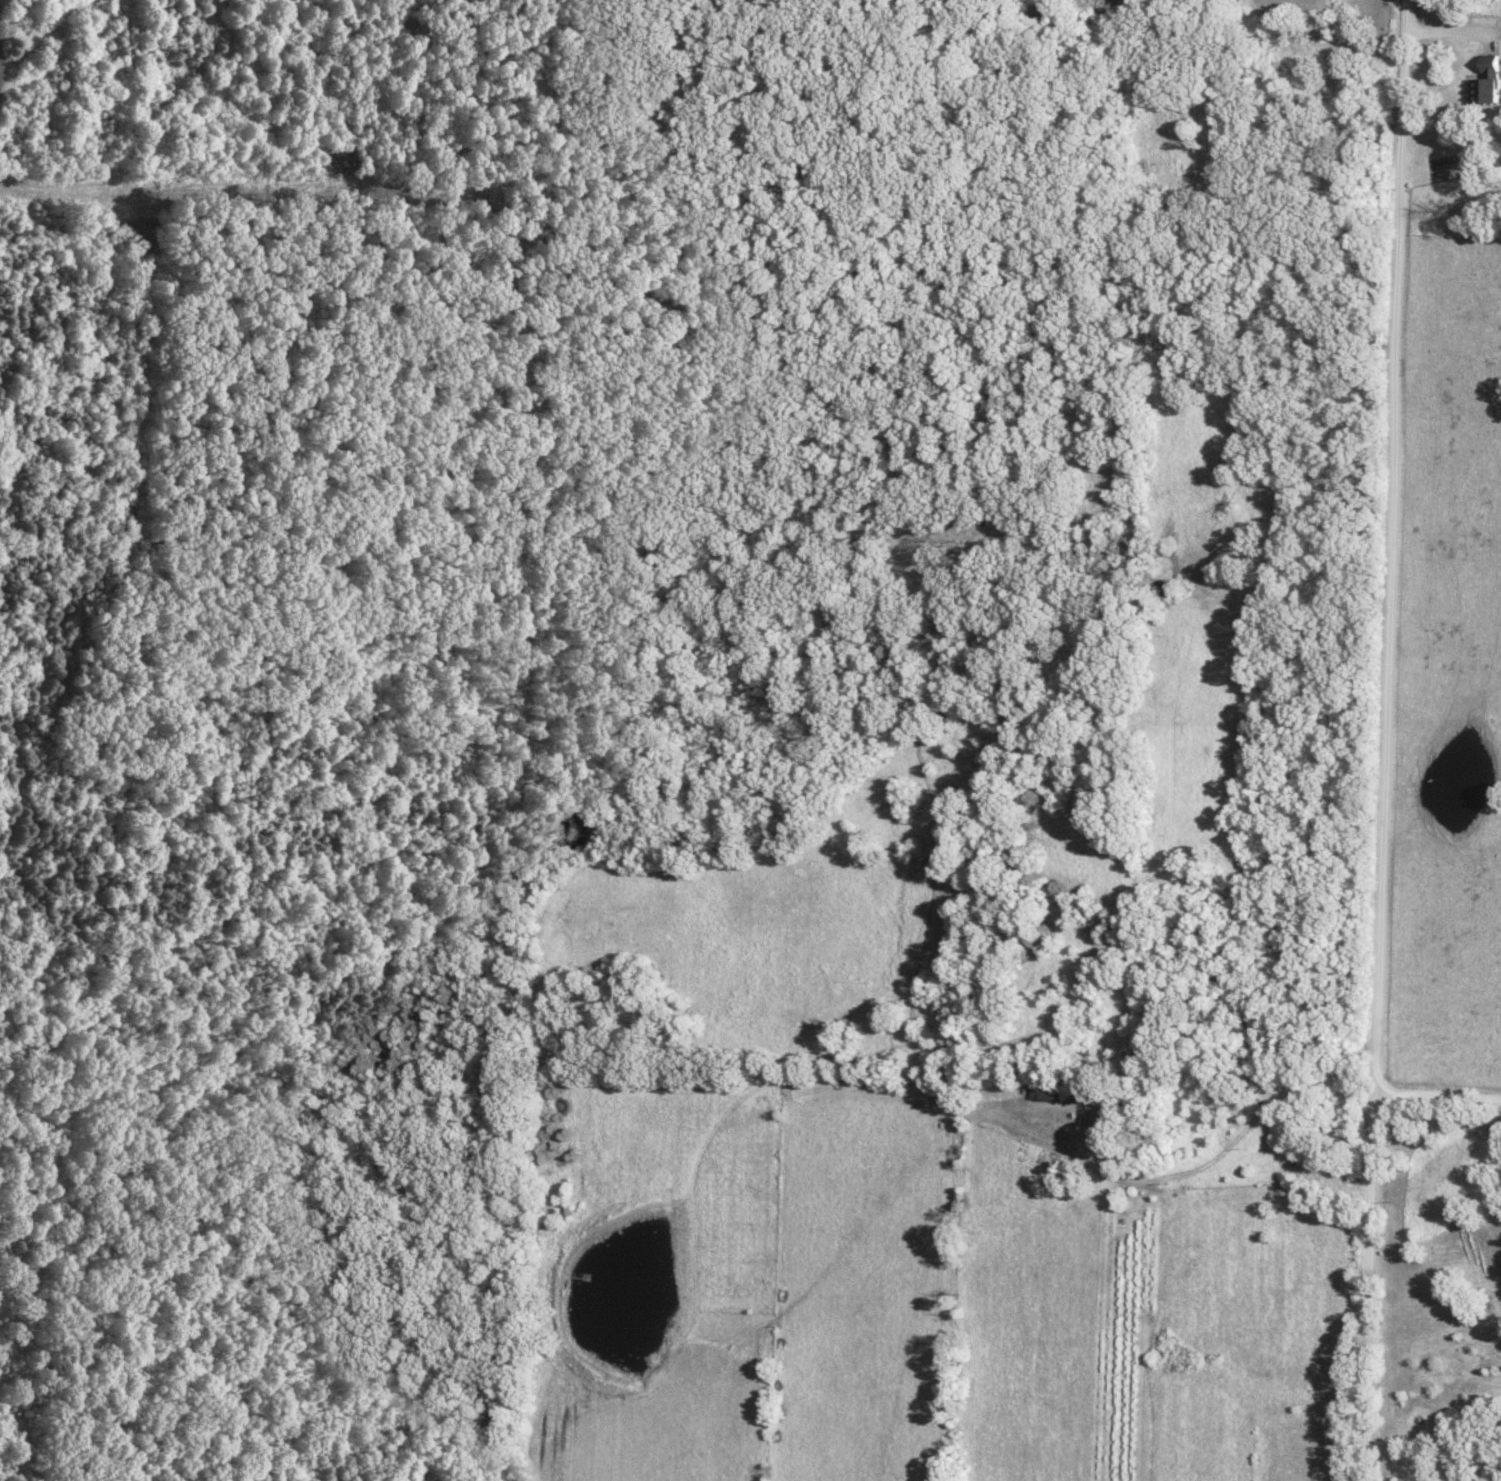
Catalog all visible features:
building: (1038, 13)
road: (1477, 32)
building: (1485, 81)
road: (1384, 545)
road: (928, 1071)
building: (1054, 1093)
road: (1436, 1093)
road: (1215, 1158)
road: (1366, 1286)

